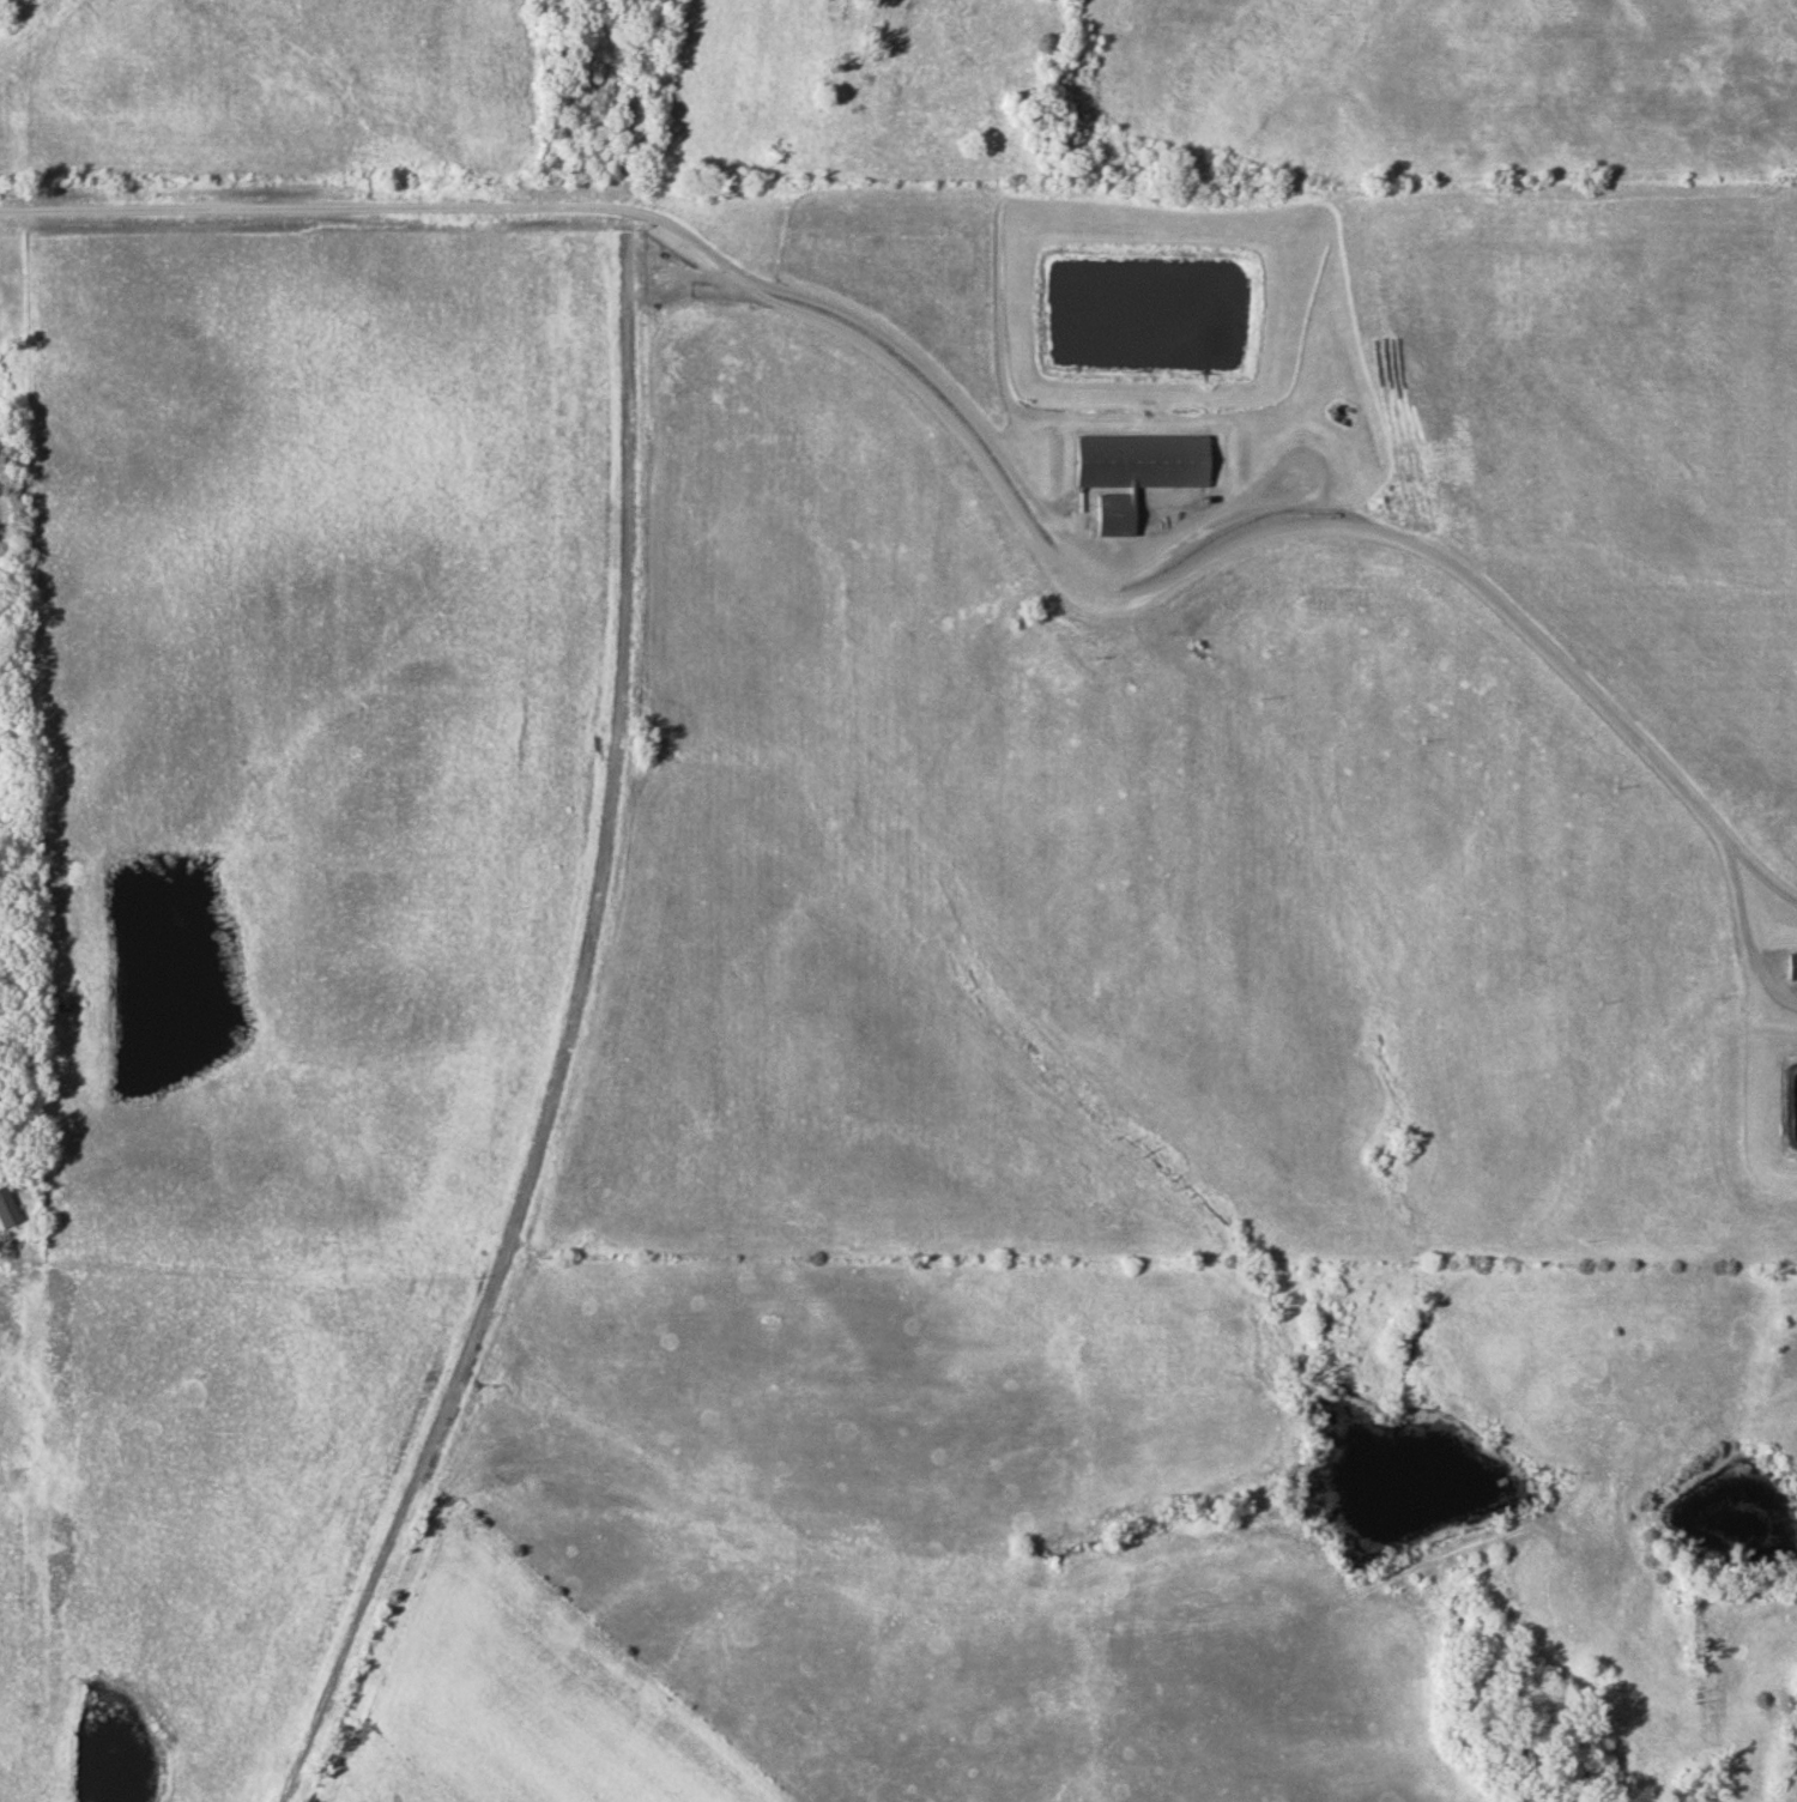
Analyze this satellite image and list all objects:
building: (1144, 459)
road: (594, 926)
building: (1795, 966)
building: (7, 1207)

